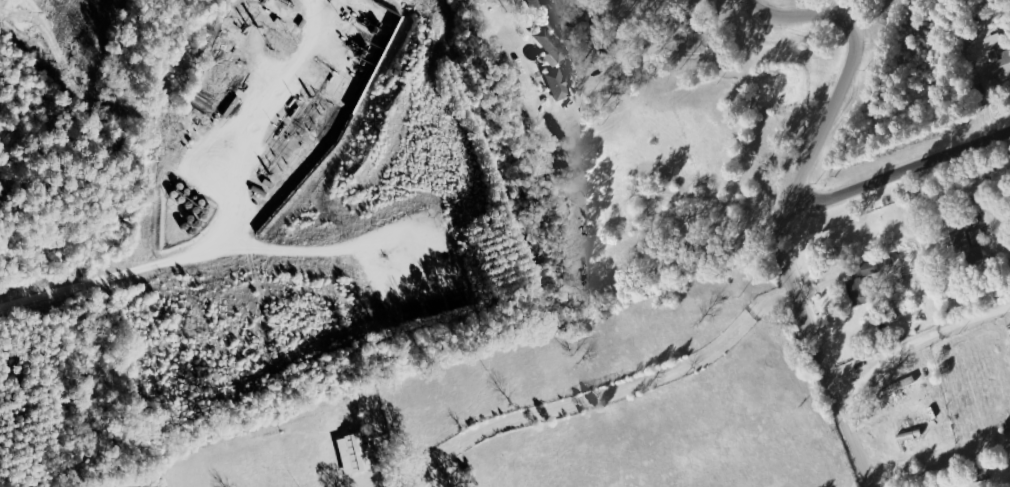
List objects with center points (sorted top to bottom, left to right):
building: (535, 3)
building: (552, 46)
building: (998, 63)
road: (849, 69)
building: (559, 84)
road: (898, 173)
road: (229, 221)
building: (979, 236)
building: (969, 249)
building: (859, 291)
road: (817, 351)
building: (899, 386)
building: (355, 453)

